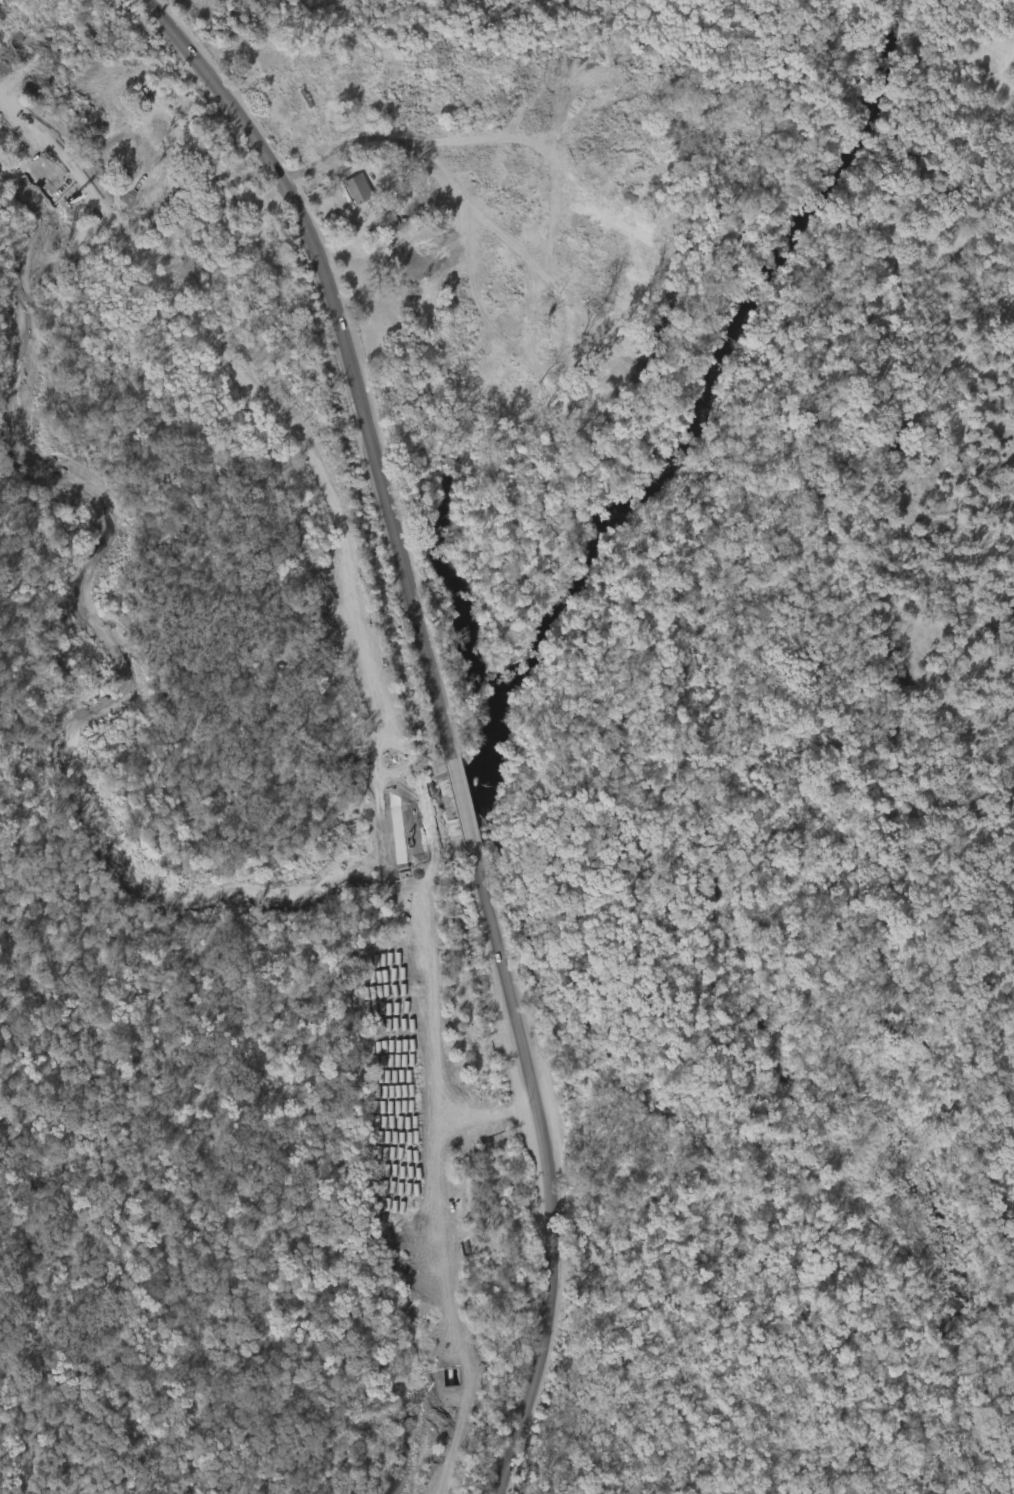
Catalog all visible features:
road: (377, 138)
building: (357, 188)
building: (349, 194)
building: (388, 220)
road: (445, 720)

